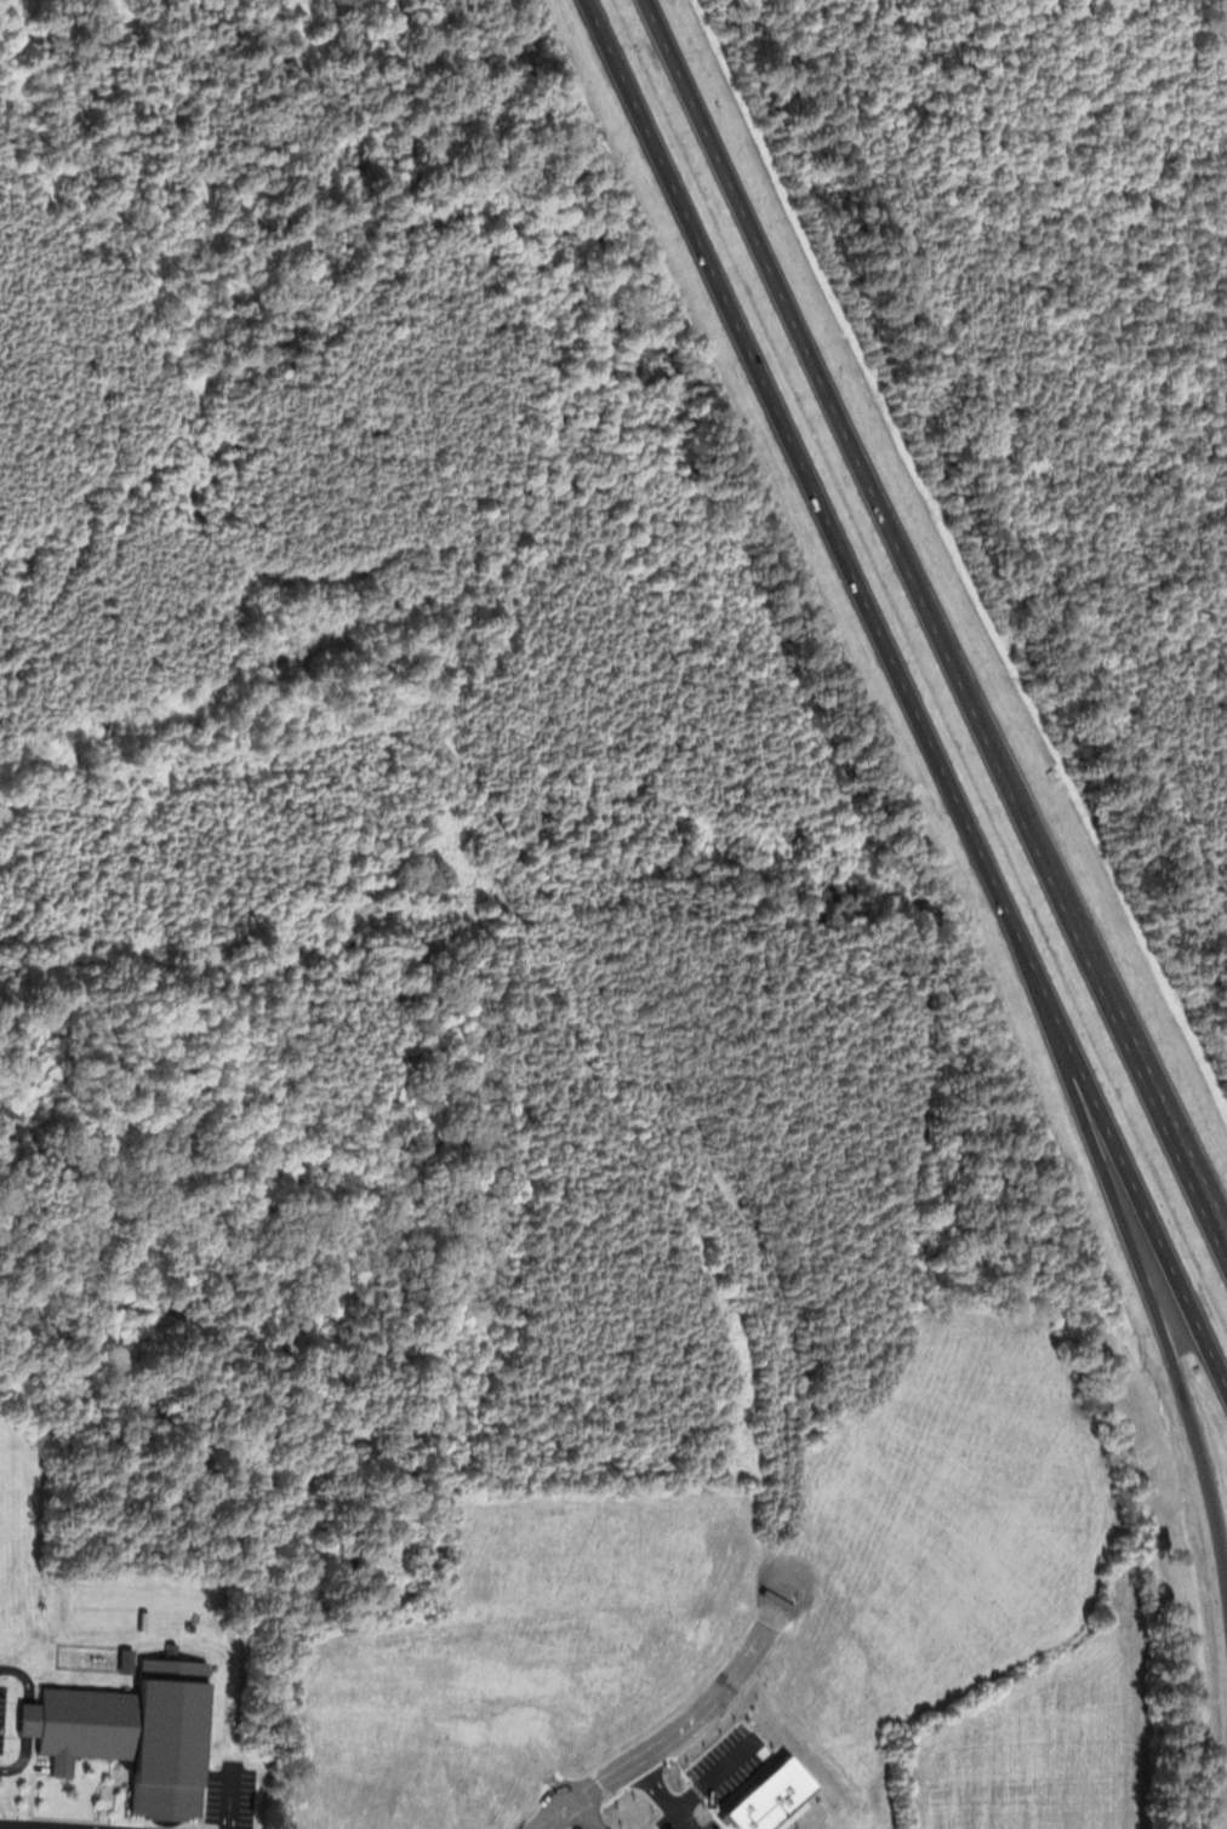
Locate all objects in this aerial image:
road: (800, 462)
road: (885, 516)
road: (1176, 1125)
road: (1176, 1147)
road: (1119, 1155)
road: (1132, 1256)
building: (171, 1646)
road: (24, 1676)
road: (28, 1719)
road: (685, 1725)
building: (135, 1733)
crop: (1052, 1734)
road: (22, 1760)
road: (229, 1802)
road: (584, 1816)
road: (36, 1827)

